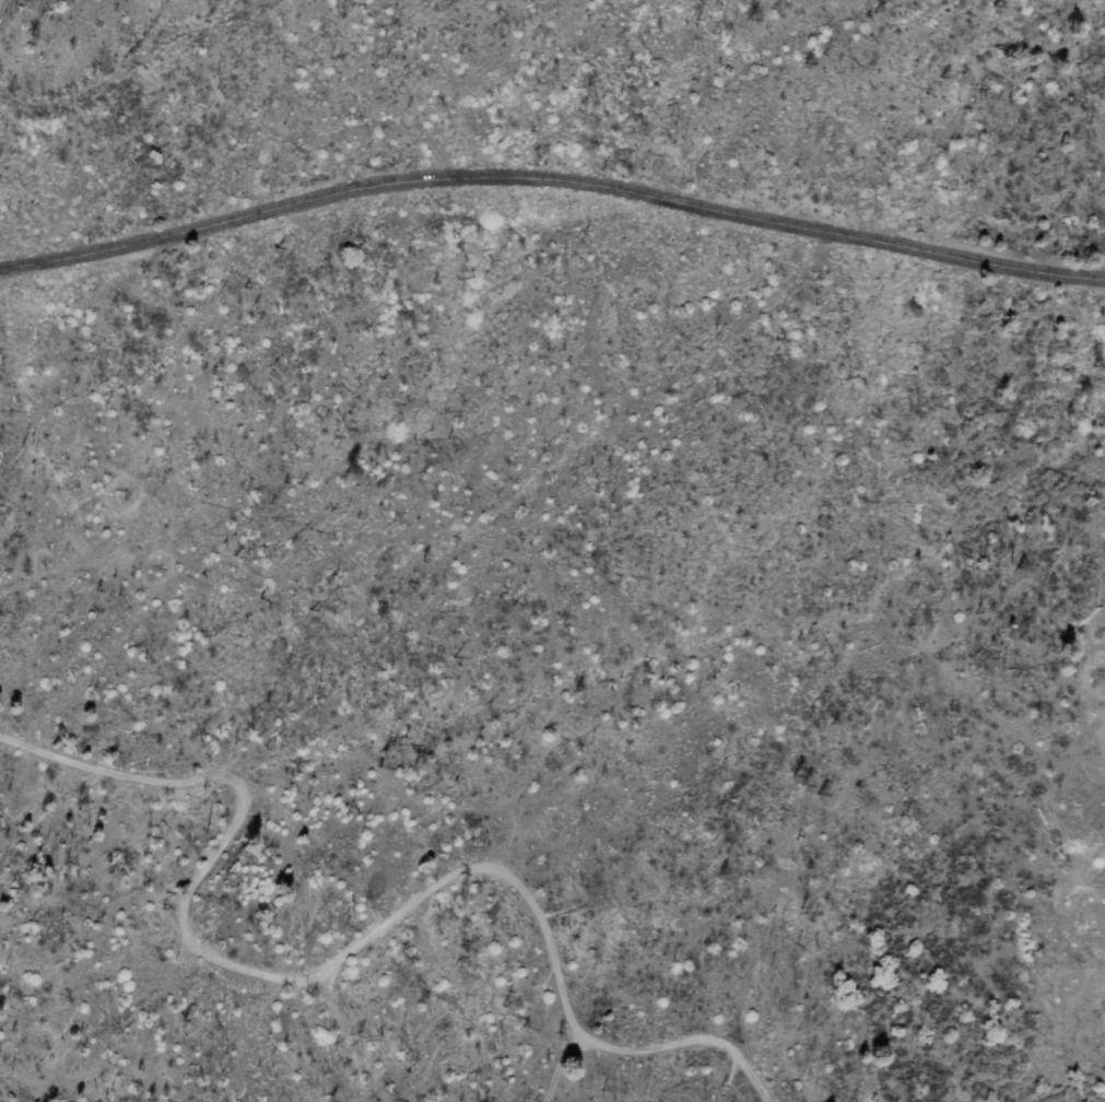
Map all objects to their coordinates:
road: (551, 179)
road: (316, 1019)

